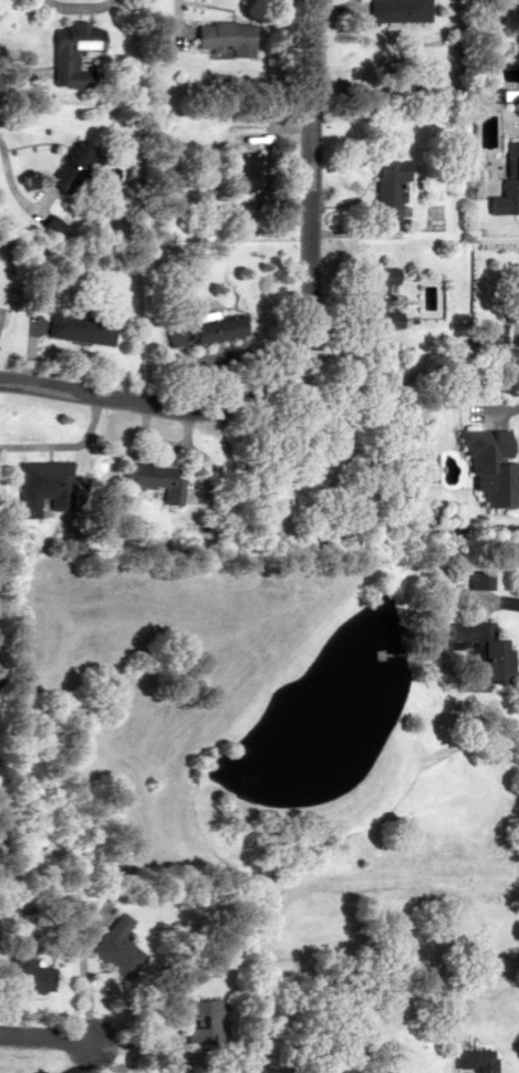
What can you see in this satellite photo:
road: (72, 8)
building: (395, 10)
building: (506, 18)
building: (219, 35)
building: (71, 54)
building: (64, 165)
building: (241, 170)
building: (505, 178)
building: (383, 186)
road: (413, 248)
building: (371, 295)
building: (76, 326)
building: (201, 329)
road: (297, 333)
building: (484, 462)
building: (417, 466)
building: (148, 478)
building: (39, 486)
building: (477, 650)
building: (114, 945)
building: (24, 971)
building: (198, 1017)
road: (45, 1036)
building: (471, 1060)

